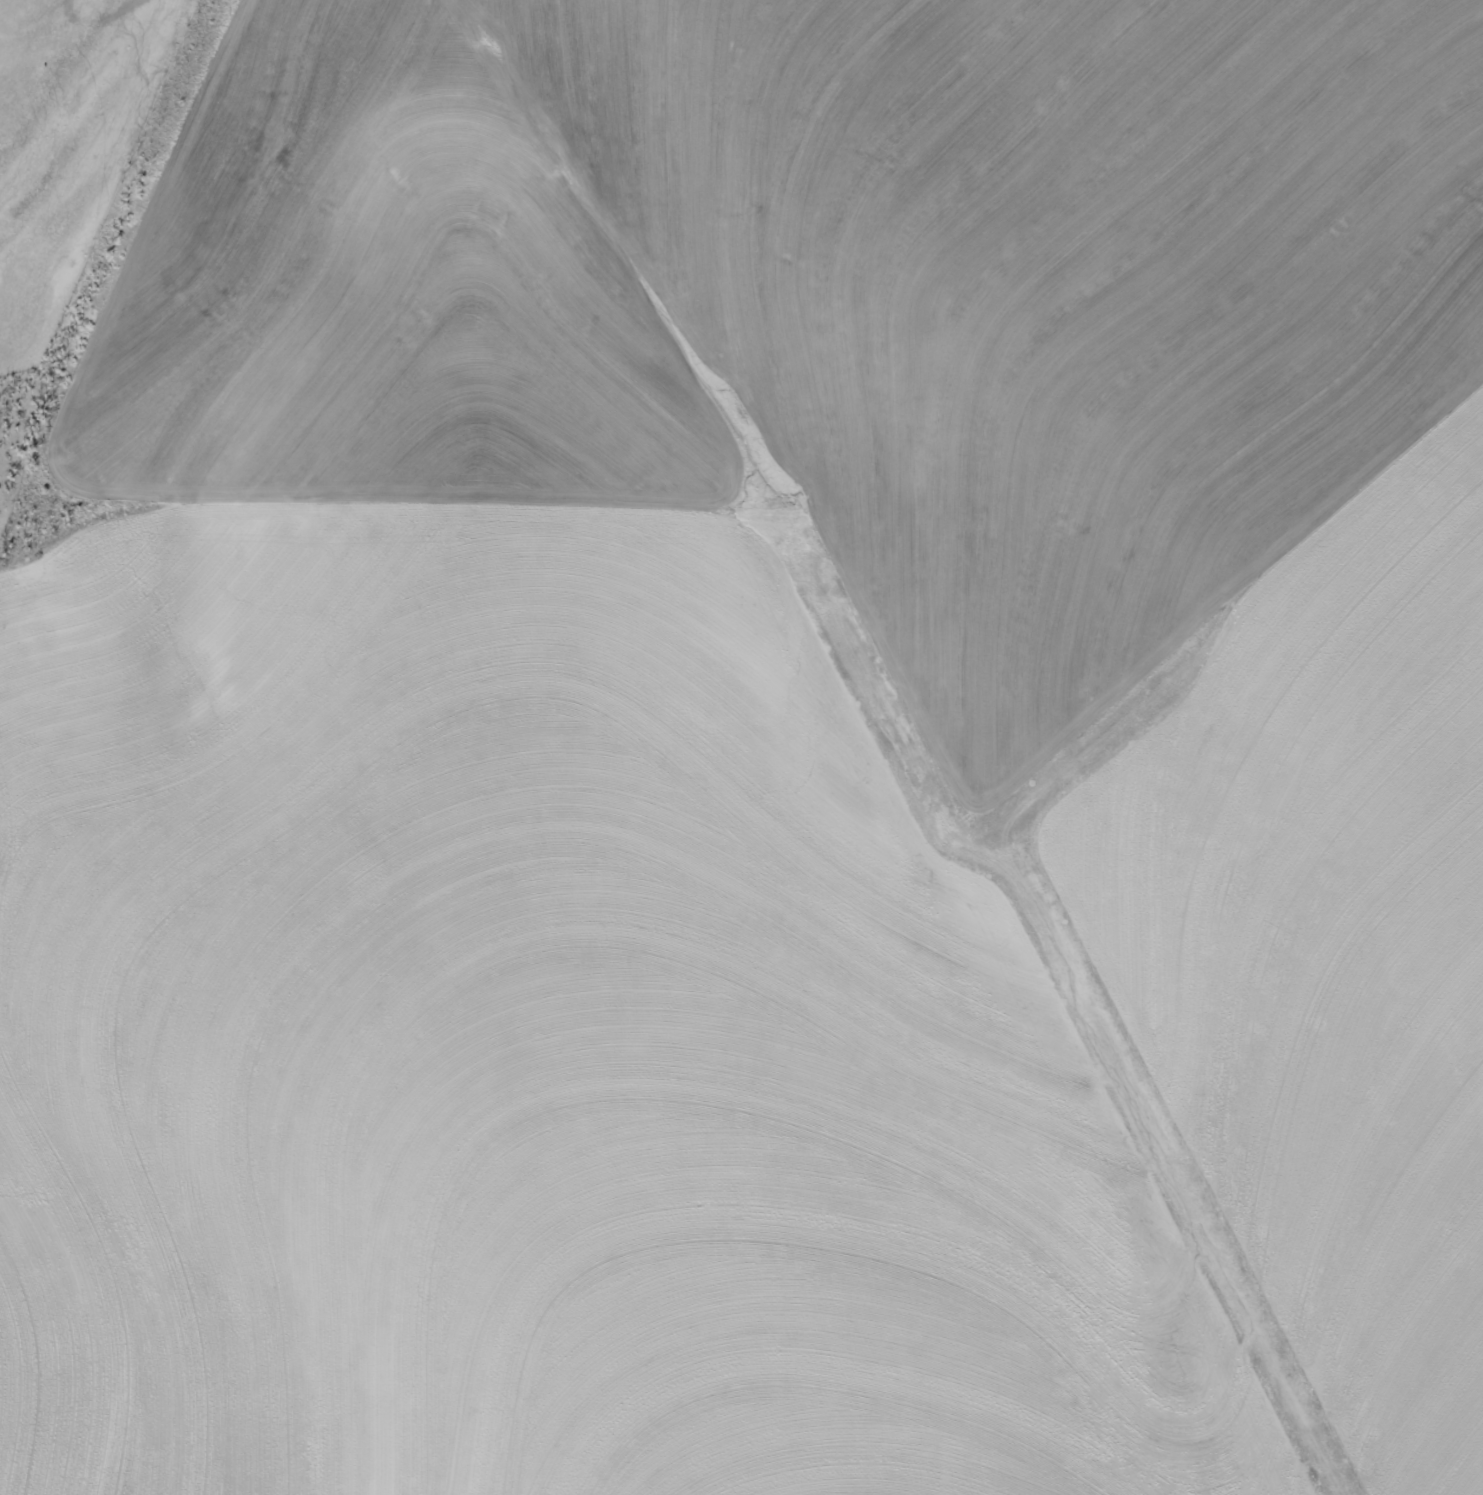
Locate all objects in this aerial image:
road: (1170, 944)

